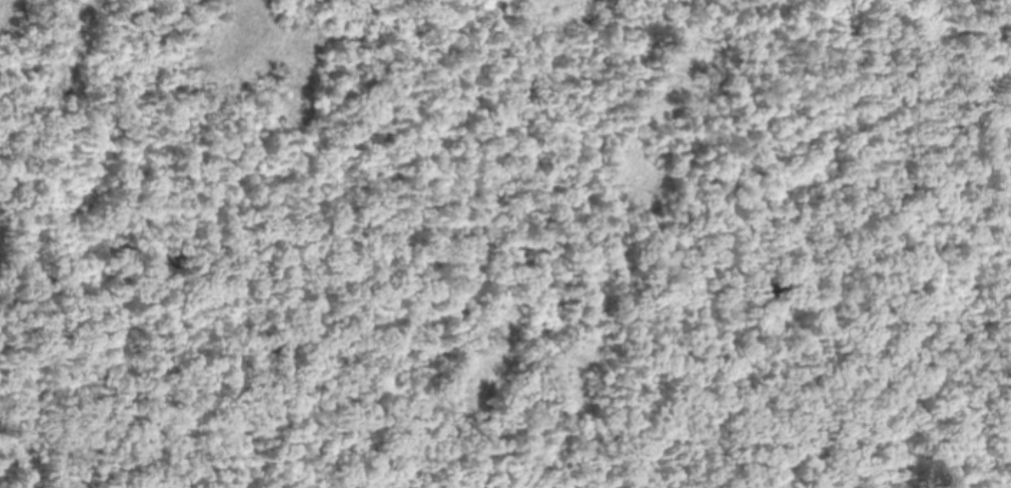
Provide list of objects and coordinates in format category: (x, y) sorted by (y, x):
park: (505, 244)

